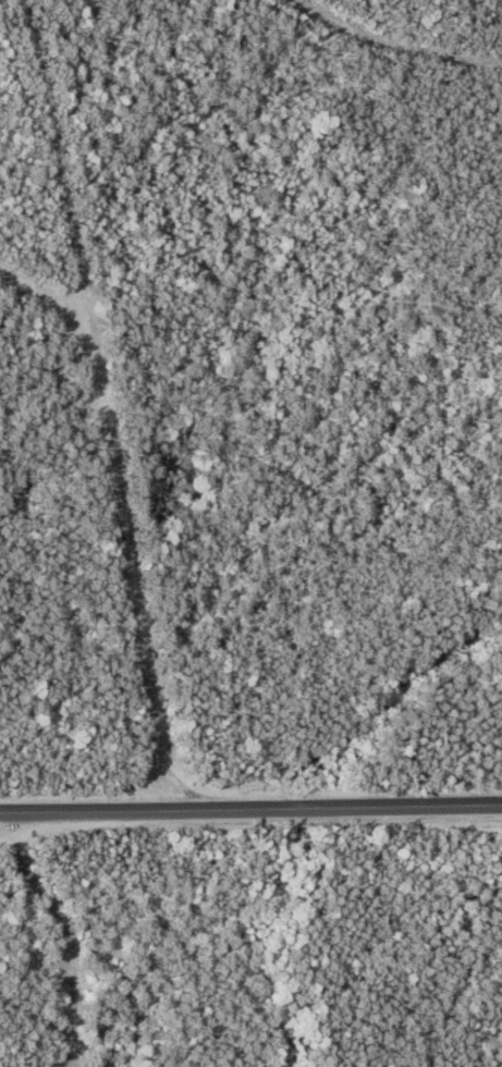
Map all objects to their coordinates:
road: (250, 804)

